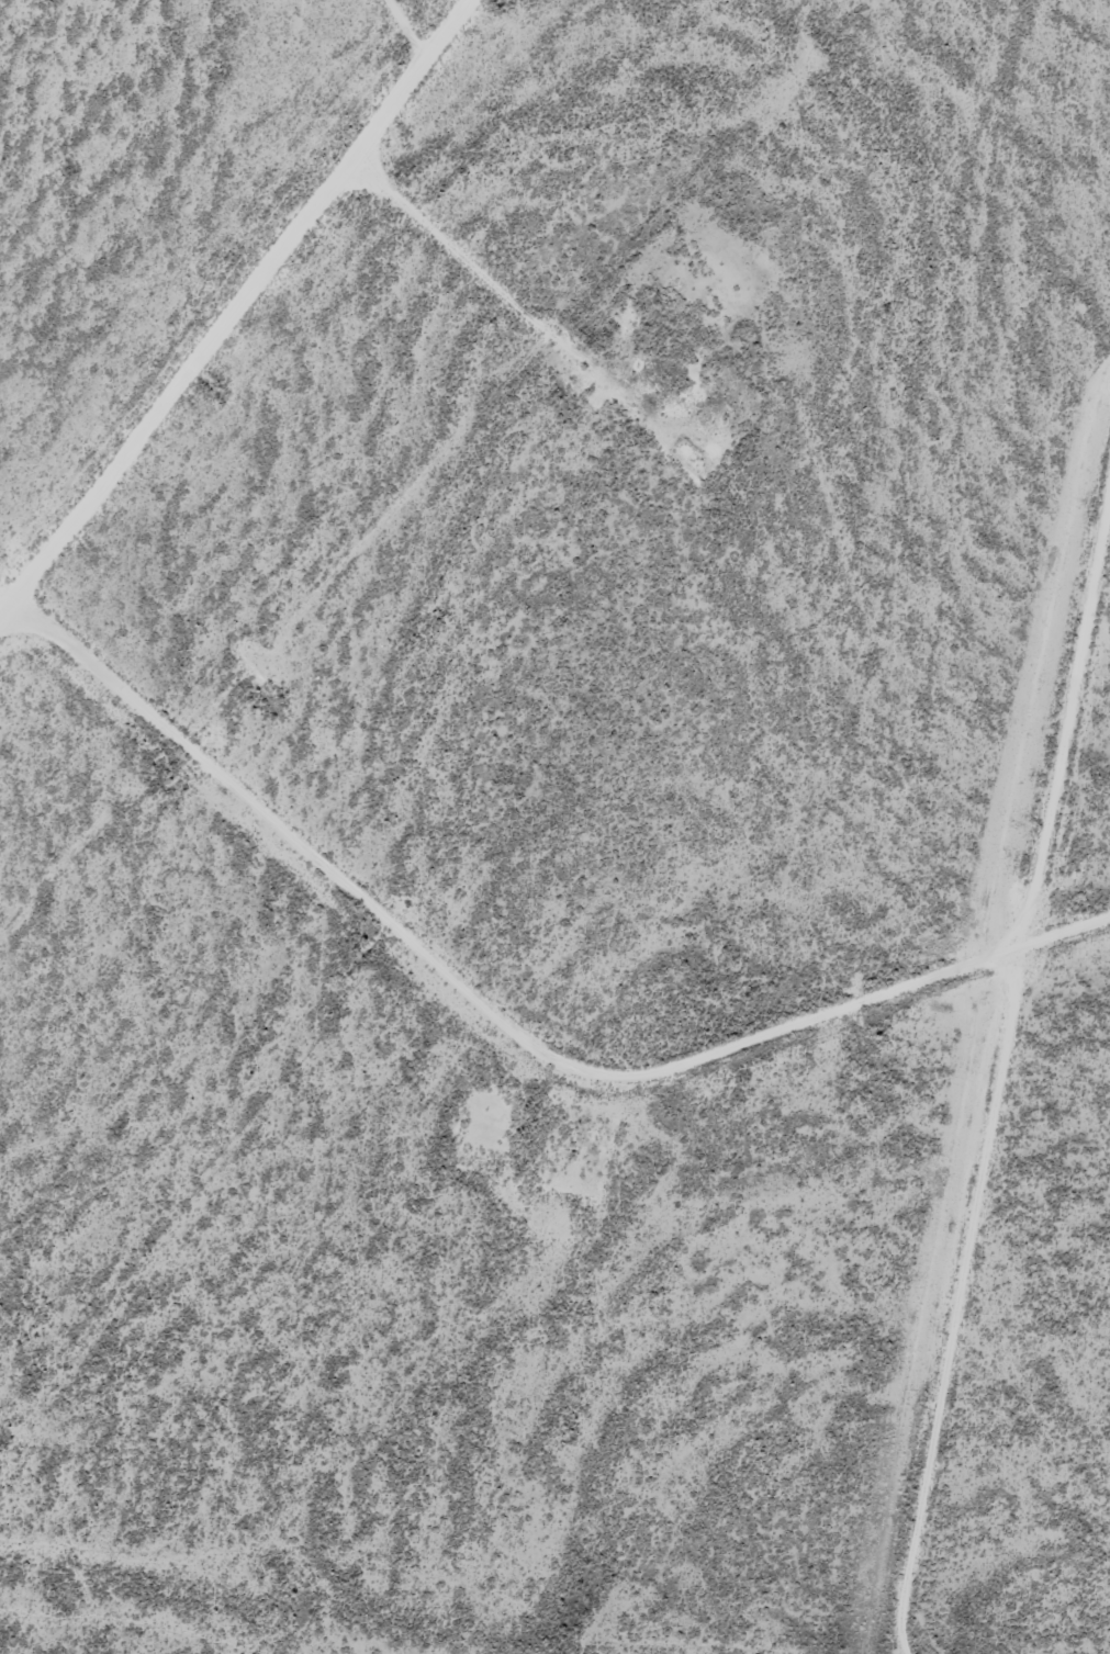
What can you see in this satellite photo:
road: (269, 310)
road: (493, 1044)

